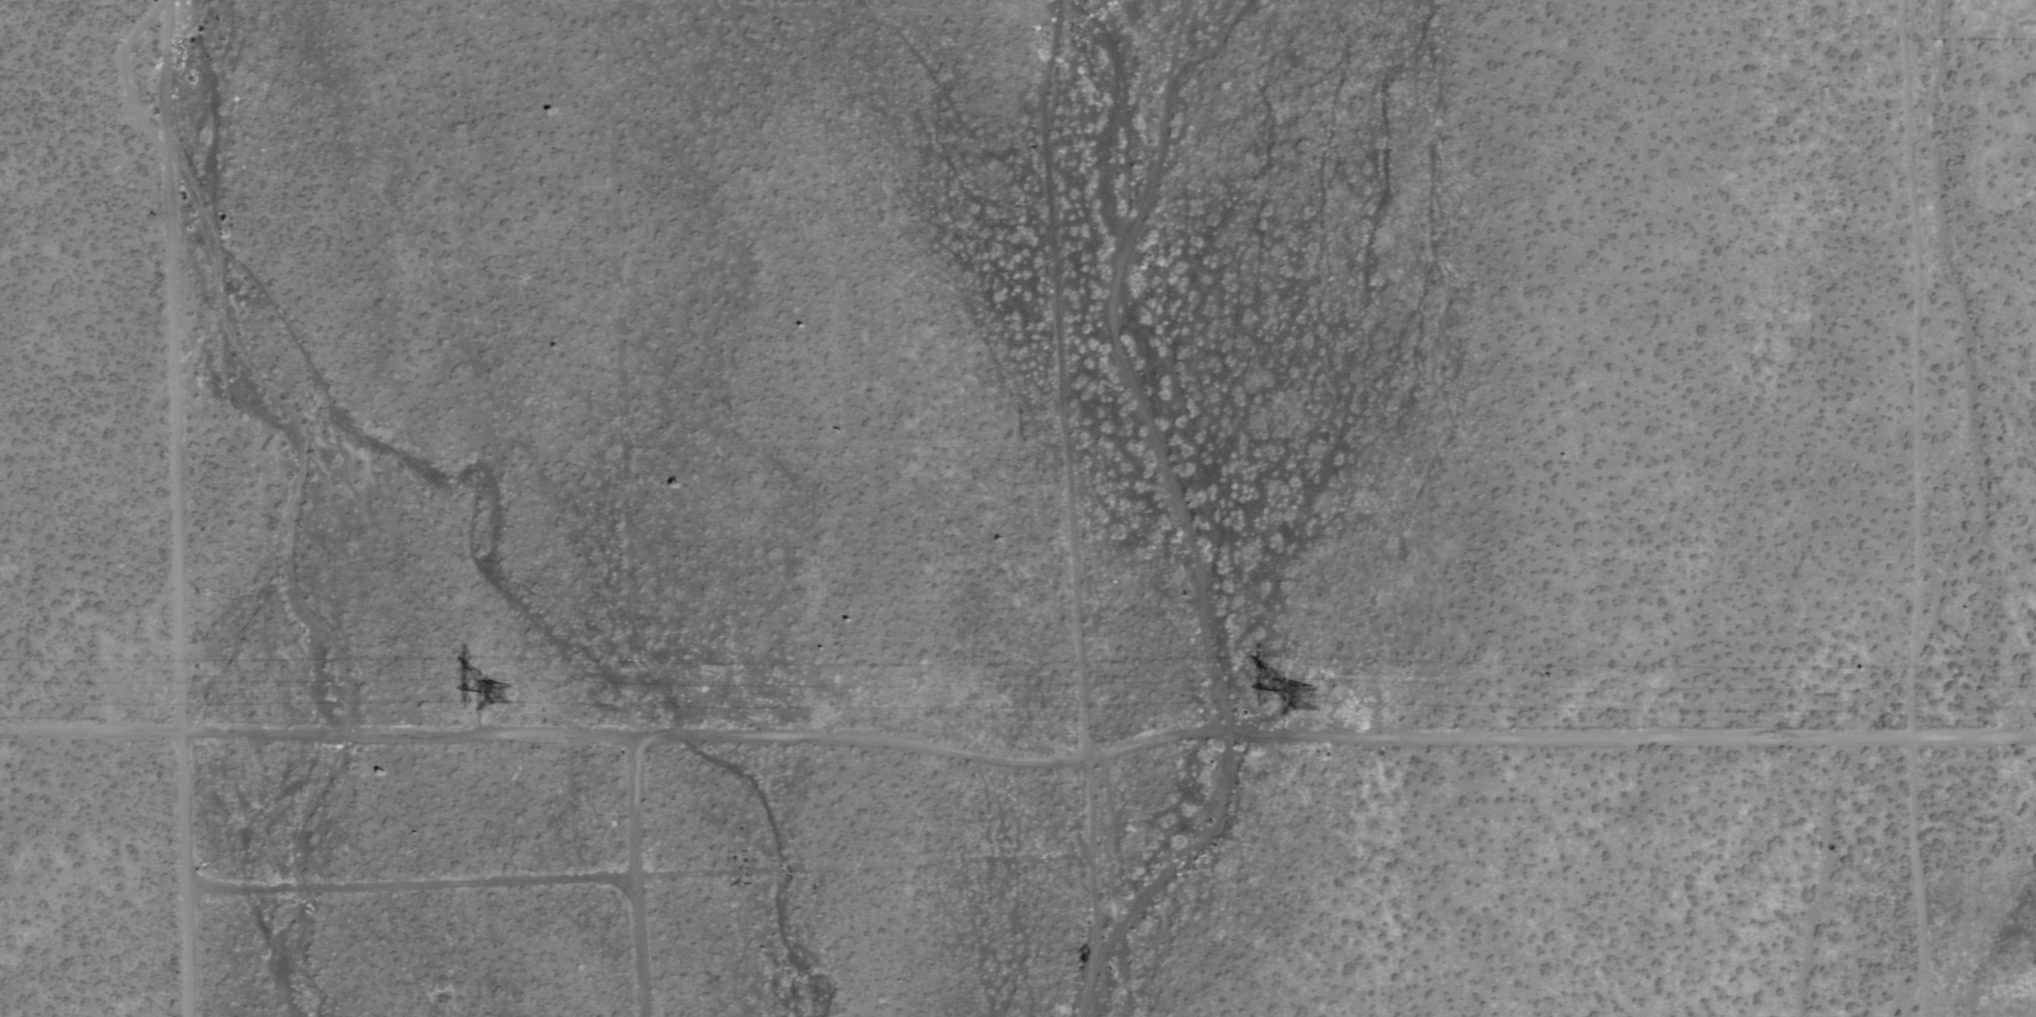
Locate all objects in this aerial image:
road: (185, 508)
power tower: (496, 694)
power tower: (1320, 697)
road: (1018, 764)
road: (635, 876)
road: (1092, 888)

